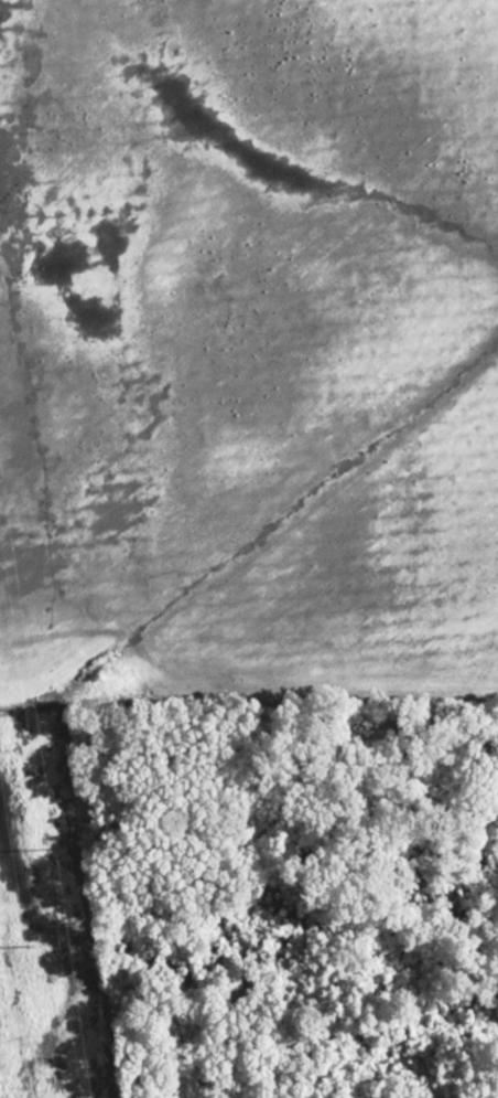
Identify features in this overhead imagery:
power tower: (21, 855)

